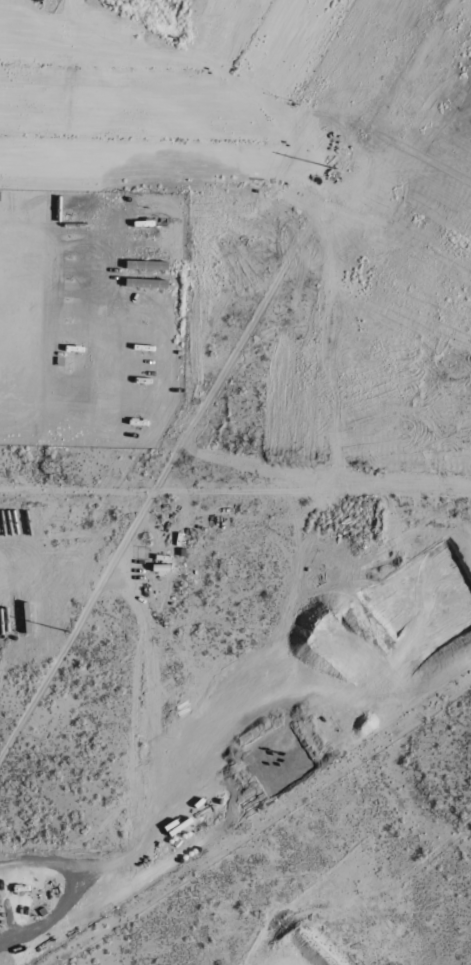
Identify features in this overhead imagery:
building: (145, 266)
building: (147, 284)
building: (60, 554)
road: (40, 926)

